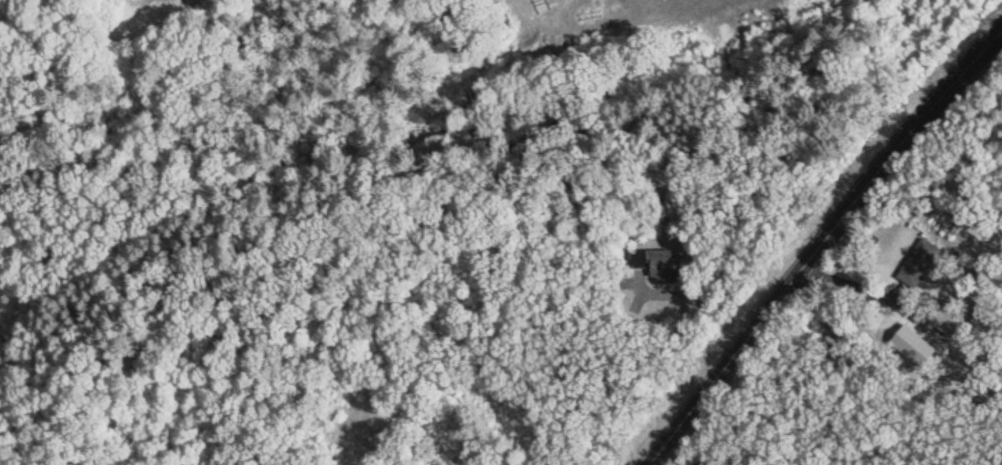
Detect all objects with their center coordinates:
road: (821, 244)
building: (922, 263)
building: (663, 264)
road: (728, 459)
parking lot: (704, 461)

